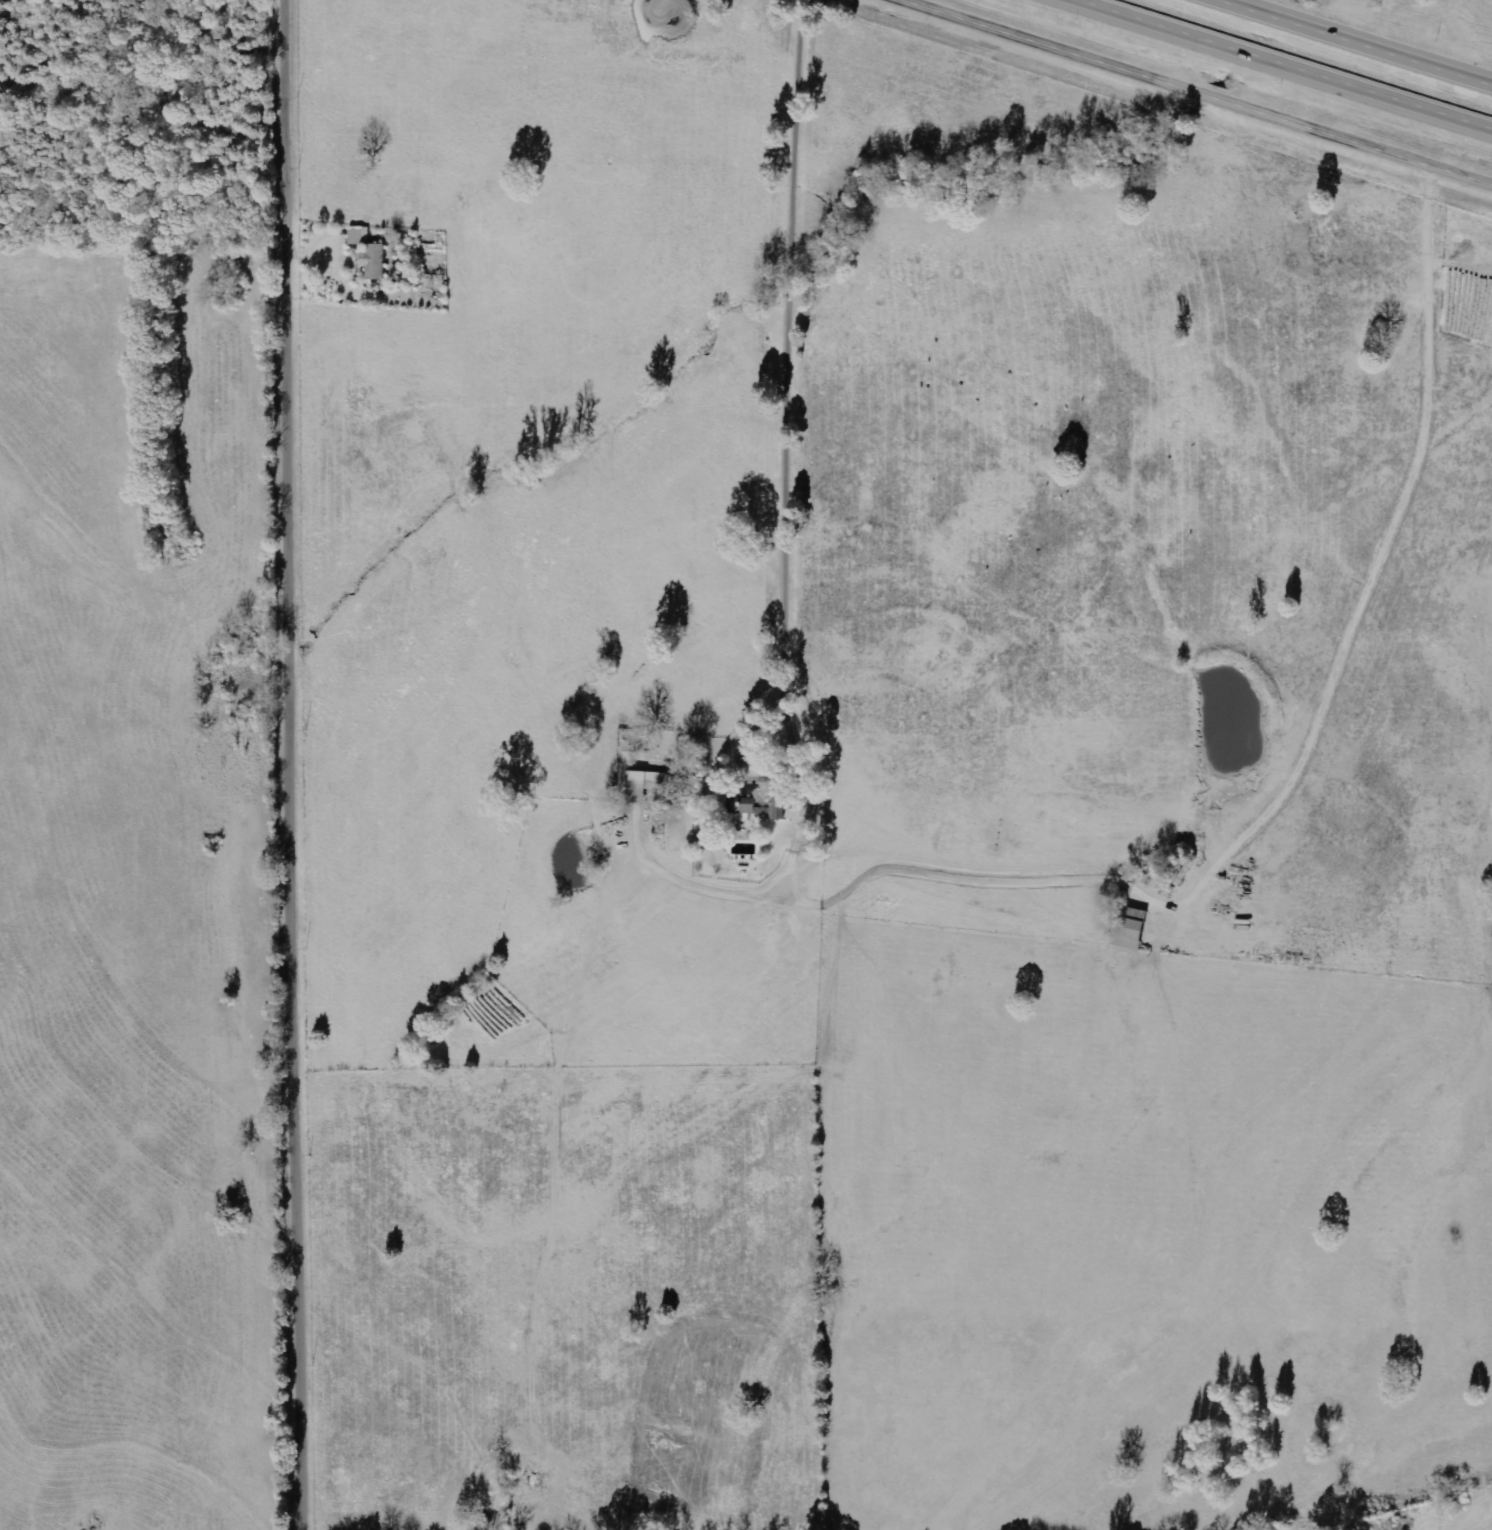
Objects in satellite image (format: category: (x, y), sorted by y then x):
road: (1366, 38)
road: (1293, 61)
road: (1203, 89)
building: (360, 236)
building: (375, 261)
road: (297, 765)
building: (644, 784)
building: (746, 807)
building: (779, 811)
building: (1132, 929)

